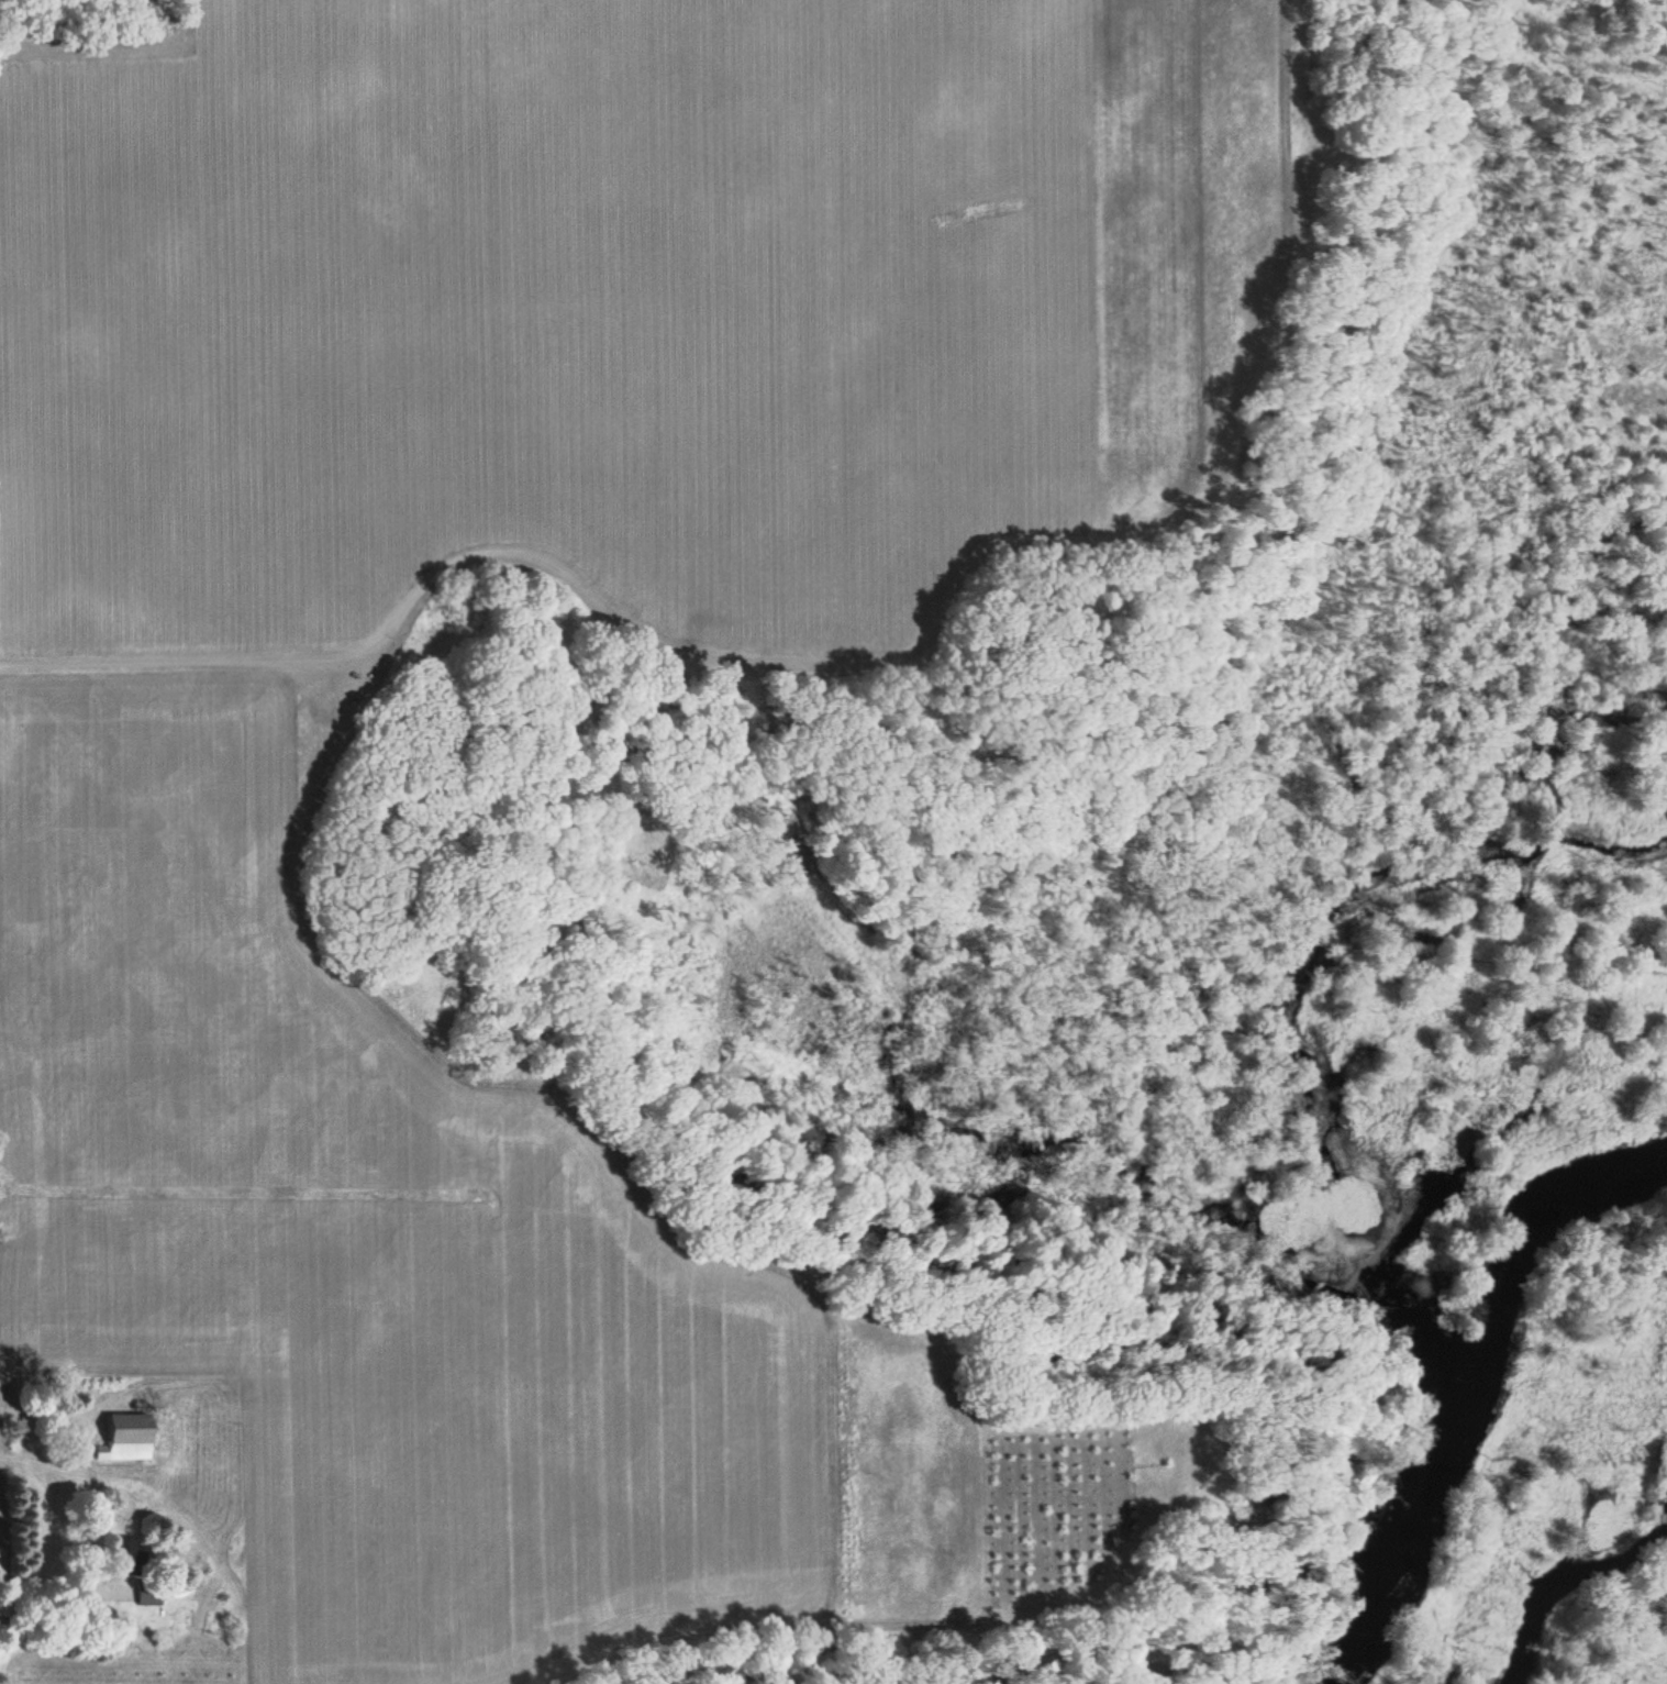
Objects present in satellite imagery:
river: (1468, 1382)
building: (126, 1437)
building: (125, 1556)
building: (148, 1597)

